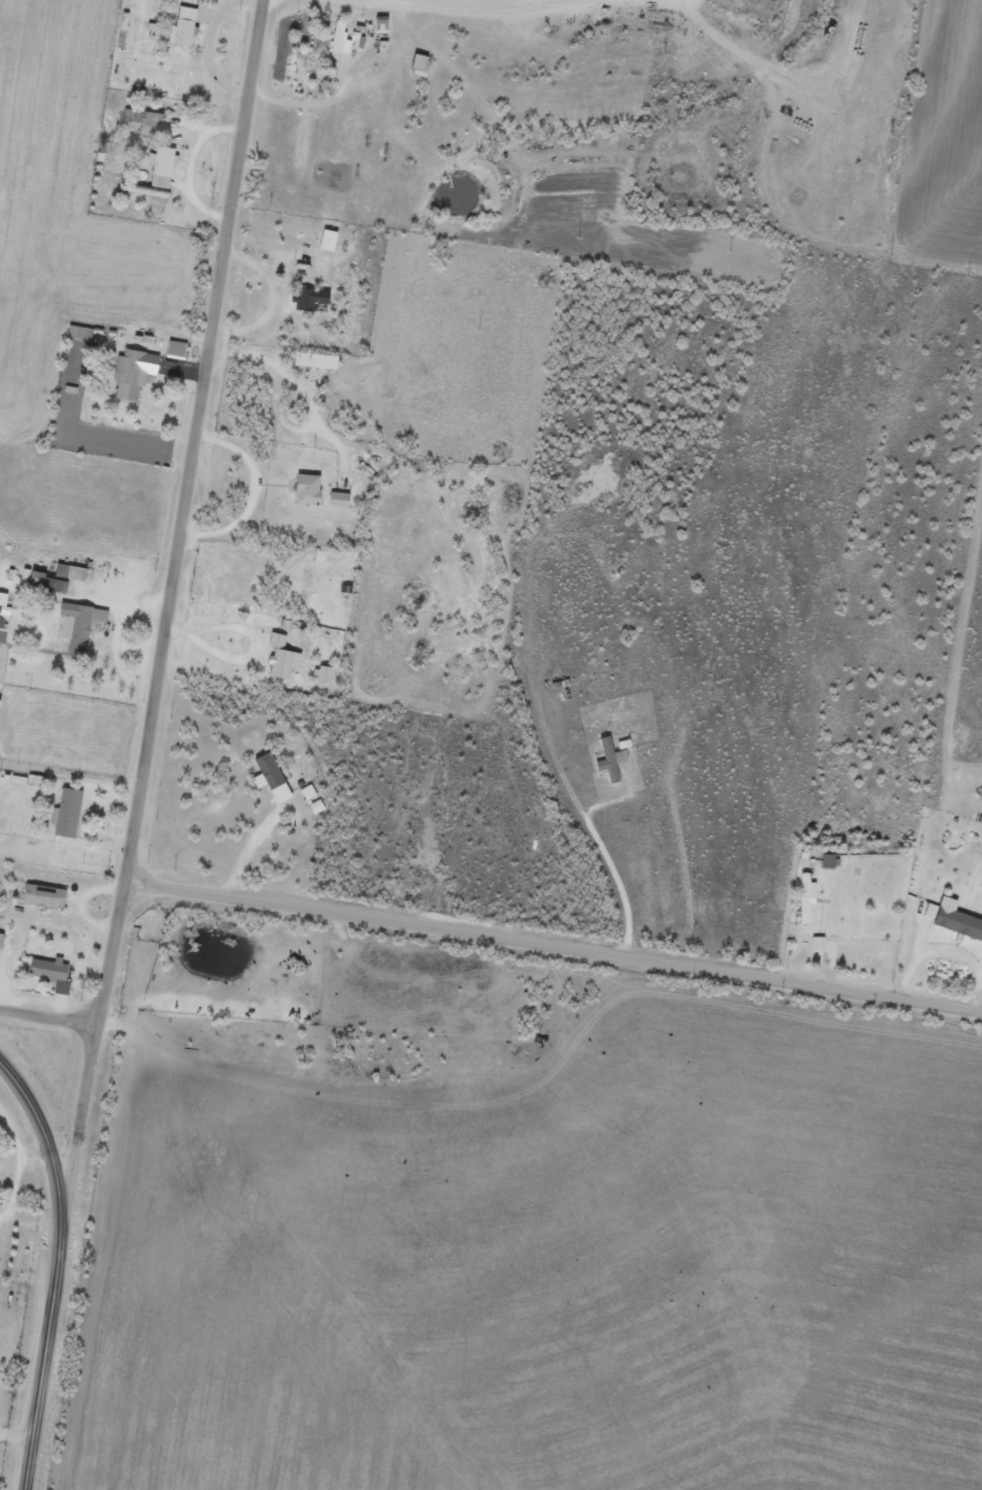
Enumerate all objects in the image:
road: (423, 3)
building: (378, 31)
building: (181, 34)
building: (338, 46)
building: (416, 72)
building: (139, 124)
road: (758, 147)
building: (159, 173)
building: (324, 247)
building: (309, 307)
building: (77, 339)
building: (173, 356)
building: (312, 367)
building: (131, 379)
building: (304, 496)
building: (335, 506)
building: (67, 579)
building: (39, 589)
building: (1, 606)
road: (160, 625)
building: (76, 632)
building: (279, 665)
building: (321, 681)
building: (608, 766)
building: (268, 784)
building: (310, 806)
building: (64, 820)
building: (825, 868)
building: (40, 903)
building: (803, 904)
building: (951, 926)
road: (553, 943)
building: (815, 950)
building: (48, 980)
road: (49, 1016)
road: (56, 1268)

